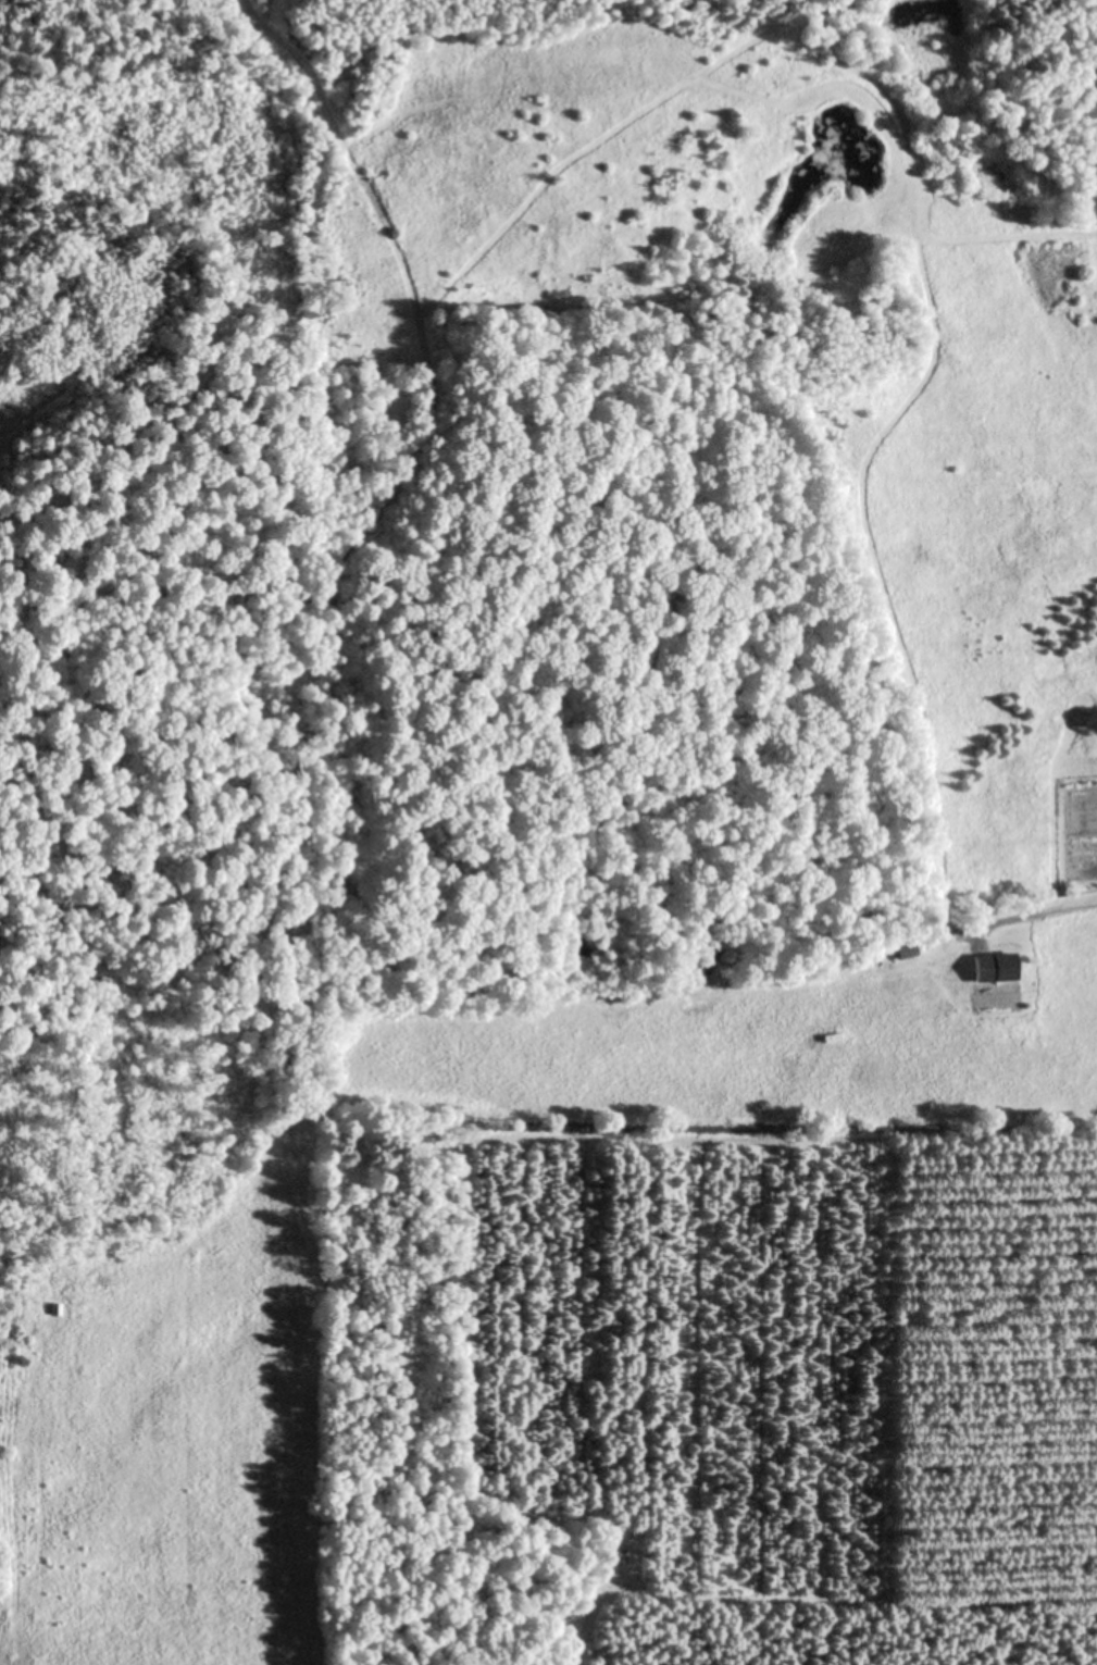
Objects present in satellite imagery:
building: (907, 953)
building: (995, 971)

